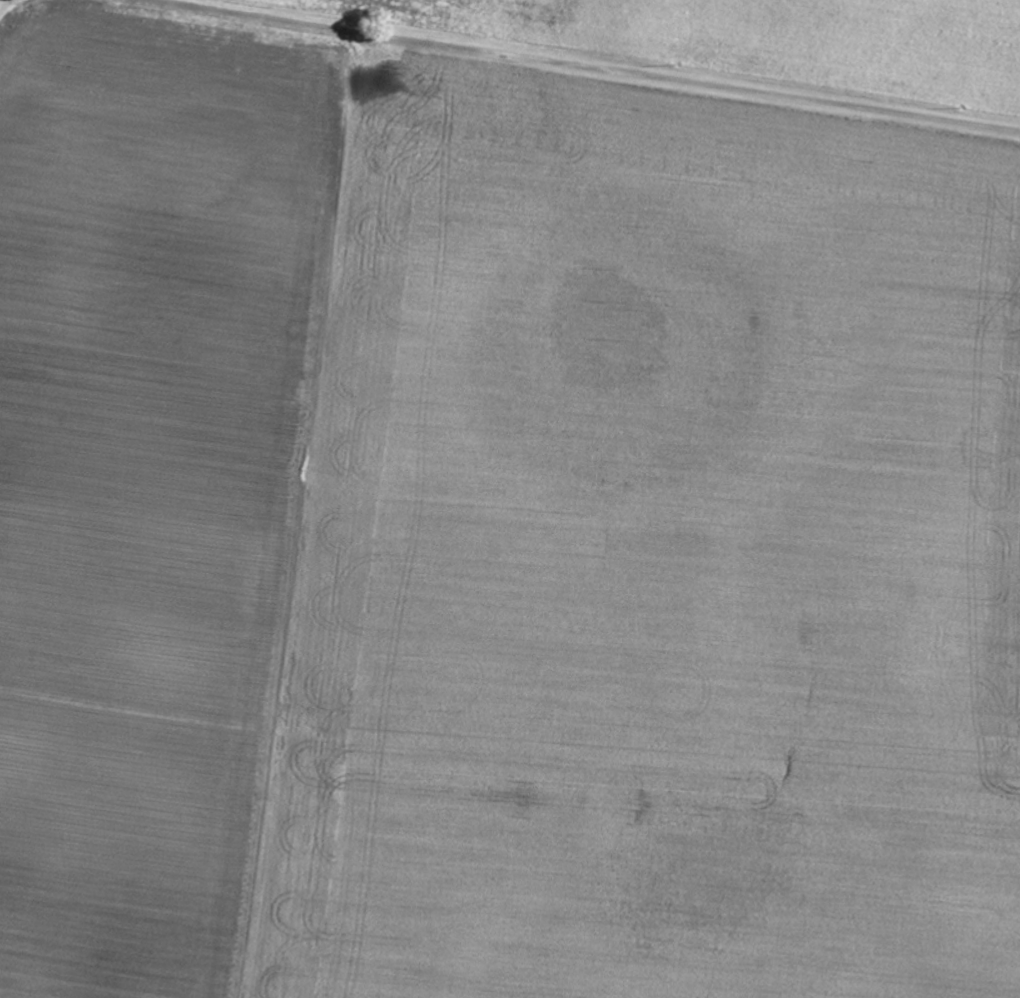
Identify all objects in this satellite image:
road: (584, 66)

